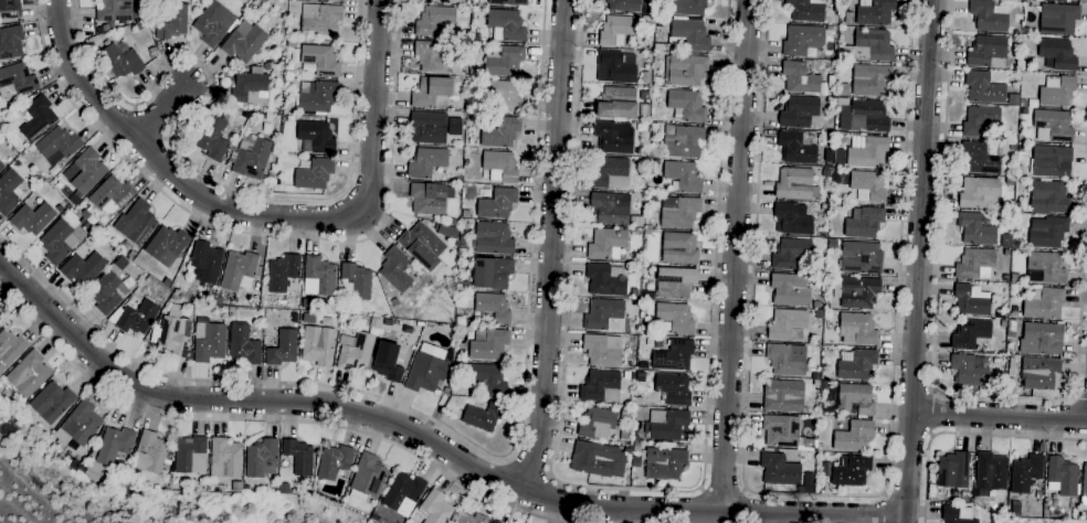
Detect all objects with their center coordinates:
building: (337, 0)
building: (709, 0)
building: (1072, 0)
building: (262, 1)
building: (440, 1)
building: (662, 1)
building: (508, 2)
building: (474, 4)
building: (623, 6)
building: (688, 7)
building: (10, 9)
building: (648, 9)
building: (114, 10)
building: (805, 10)
building: (875, 13)
building: (831, 15)
building: (988, 15)
building: (848, 18)
building: (1017, 19)
building: (1058, 19)
building: (319, 20)
building: (433, 21)
building: (173, 22)
building: (213, 23)
building: (507, 24)
building: (140, 25)
building: (829, 28)
building: (615, 30)
building: (1026, 32)
building: (688, 34)
building: (801, 40)
building: (10, 42)
building: (243, 42)
building: (1026, 42)
building: (291, 44)
building: (869, 46)
building: (986, 51)
building: (151, 52)
building: (1057, 55)
building: (432, 57)
building: (120, 60)
building: (320, 60)
building: (502, 61)
building: (615, 67)
building: (684, 70)
building: (474, 73)
building: (800, 76)
building: (645, 78)
building: (18, 79)
building: (869, 79)
building: (657, 82)
building: (831, 82)
building: (250, 87)
building: (983, 88)
building: (1057, 90)
building: (658, 92)
building: (431, 93)
building: (503, 95)
building: (644, 96)
building: (316, 97)
building: (826, 97)
building: (1012, 99)
building: (616, 104)
building: (686, 106)
road: (373, 107)
building: (824, 107)
building: (644, 110)
building: (800, 113)
road: (161, 114)
building: (867, 117)
building: (36, 118)
building: (289, 119)
building: (979, 120)
building: (257, 121)
building: (452, 126)
building: (1052, 126)
building: (429, 128)
building: (826, 128)
building: (500, 132)
building: (612, 137)
building: (315, 138)
building: (212, 139)
building: (679, 142)
building: (25, 146)
building: (57, 146)
building: (796, 146)
building: (1012, 146)
building: (18, 149)
building: (868, 153)
building: (827, 156)
building: (251, 158)
building: (980, 158)
building: (1051, 161)
building: (426, 162)
road: (190, 166)
building: (499, 167)
building: (1, 168)
road: (167, 169)
building: (54, 170)
building: (87, 171)
building: (609, 172)
building: (315, 174)
building: (270, 175)
building: (683, 178)
building: (843, 180)
building: (1009, 181)
building: (281, 182)
building: (53, 184)
building: (795, 184)
building: (867, 186)
building: (10, 192)
building: (112, 193)
building: (471, 193)
building: (979, 193)
building: (430, 198)
building: (1047, 198)
building: (74, 200)
building: (497, 203)
building: (611, 207)
building: (1017, 207)
building: (85, 214)
building: (679, 214)
building: (32, 218)
building: (791, 220)
building: (864, 222)
building: (136, 223)
building: (454, 223)
building: (975, 230)
building: (447, 232)
building: (646, 232)
building: (1046, 232)
road: (265, 235)
building: (493, 238)
building: (88, 239)
building: (1005, 241)
building: (56, 242)
building: (463, 242)
building: (166, 244)
building: (606, 244)
building: (421, 245)
road: (550, 245)
building: (124, 246)
building: (678, 248)
building: (790, 253)
building: (1006, 253)
building: (130, 255)
building: (861, 257)
road: (735, 258)
road: (918, 260)
building: (120, 264)
building: (974, 264)
building: (203, 265)
building: (1046, 266)
building: (83, 268)
building: (395, 269)
building: (239, 271)
building: (282, 273)
building: (489, 273)
building: (318, 277)
building: (1005, 278)
building: (1014, 279)
building: (356, 280)
building: (605, 280)
building: (675, 282)
building: (463, 286)
building: (790, 290)
building: (856, 291)
building: (634, 292)
building: (105, 293)
building: (211, 293)
building: (175, 297)
building: (971, 300)
building: (310, 302)
building: (394, 302)
building: (1044, 303)
building: (494, 307)
building: (826, 313)
building: (819, 314)
building: (999, 314)
building: (603, 316)
building: (135, 318)
building: (308, 318)
building: (676, 318)
building: (326, 322)
building: (0, 323)
building: (374, 323)
building: (1003, 323)
building: (788, 324)
building: (1012, 327)
building: (857, 329)
building: (970, 333)
building: (173, 338)
building: (1041, 339)
building: (208, 341)
building: (243, 344)
building: (488, 344)
building: (317, 345)
building: (10, 349)
building: (283, 349)
building: (602, 350)
building: (1009, 350)
building: (355, 352)
building: (673, 355)
building: (787, 360)
building: (387, 363)
road: (931, 363)
building: (856, 364)
building: (1011, 366)
building: (428, 369)
building: (969, 370)
building: (28, 374)
building: (1041, 374)
building: (814, 376)
building: (487, 378)
building: (823, 385)
building: (601, 386)
building: (673, 388)
building: (446, 389)
building: (783, 396)
road: (1079, 396)
building: (855, 398)
building: (52, 399)
building: (637, 402)
road: (933, 413)
building: (483, 416)
road: (999, 416)
road: (271, 420)
building: (600, 421)
building: (78, 426)
building: (667, 426)
building: (784, 433)
road: (965, 433)
building: (625, 435)
road: (456, 436)
building: (853, 436)
road: (432, 442)
building: (114, 445)
building: (636, 447)
building: (820, 448)
building: (150, 453)
building: (190, 456)
building: (298, 457)
building: (224, 458)
building: (261, 459)
building: (592, 459)
building: (334, 461)
building: (664, 463)
building: (74, 465)
road: (528, 467)
building: (779, 470)
building: (952, 470)
building: (851, 471)
building: (990, 473)
building: (1025, 473)
building: (1062, 477)
building: (367, 479)
building: (1084, 484)
building: (307, 485)
building: (236, 487)
building: (246, 489)
road: (630, 490)
building: (826, 491)
road: (721, 492)
building: (403, 493)
road: (816, 495)
building: (434, 508)
road: (883, 508)
building: (1015, 508)
building: (1001, 512)
building: (992, 513)
building: (957, 514)
building: (471, 519)
building: (490, 522)
building: (494, 522)

